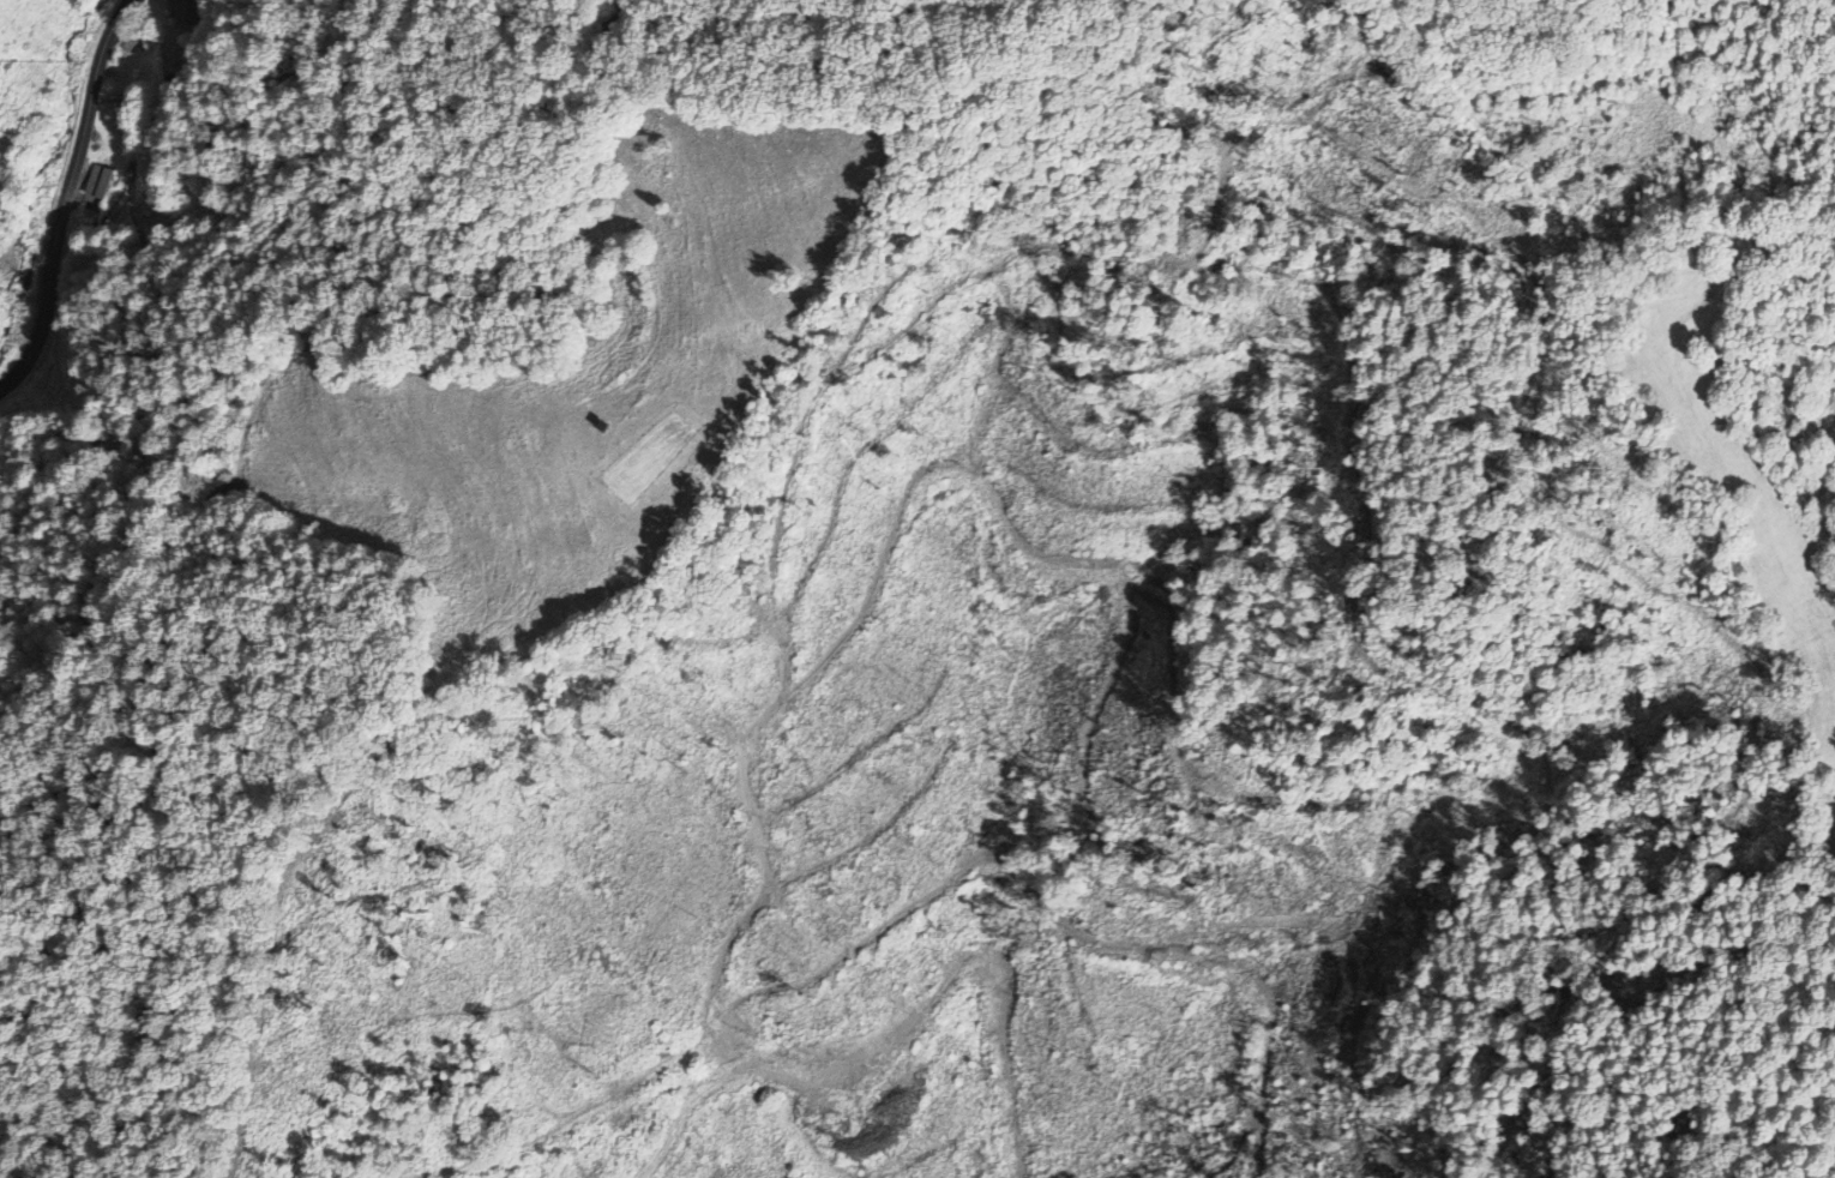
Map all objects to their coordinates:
building: (182, 10)
building: (115, 112)
building: (97, 181)
road: (68, 191)

